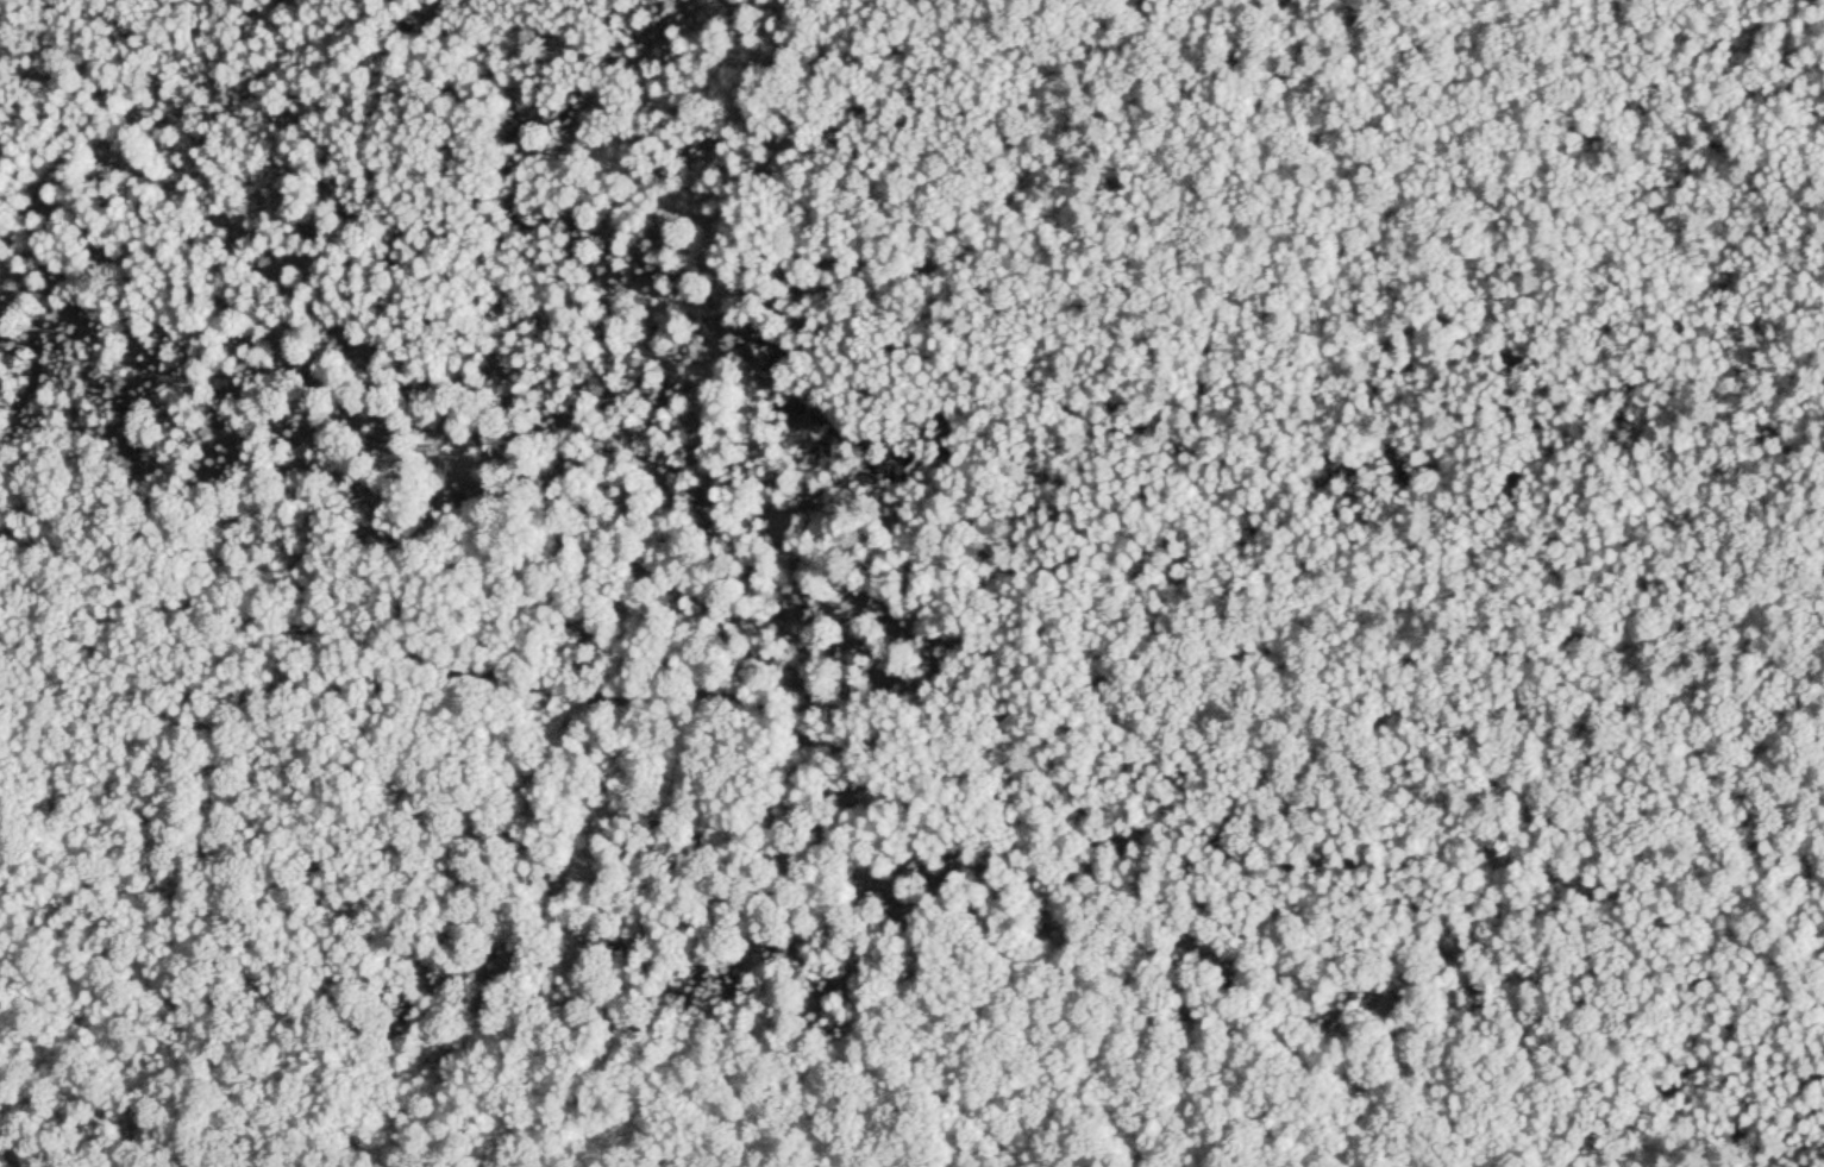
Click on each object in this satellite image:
park: (911, 583)
road: (294, 633)

